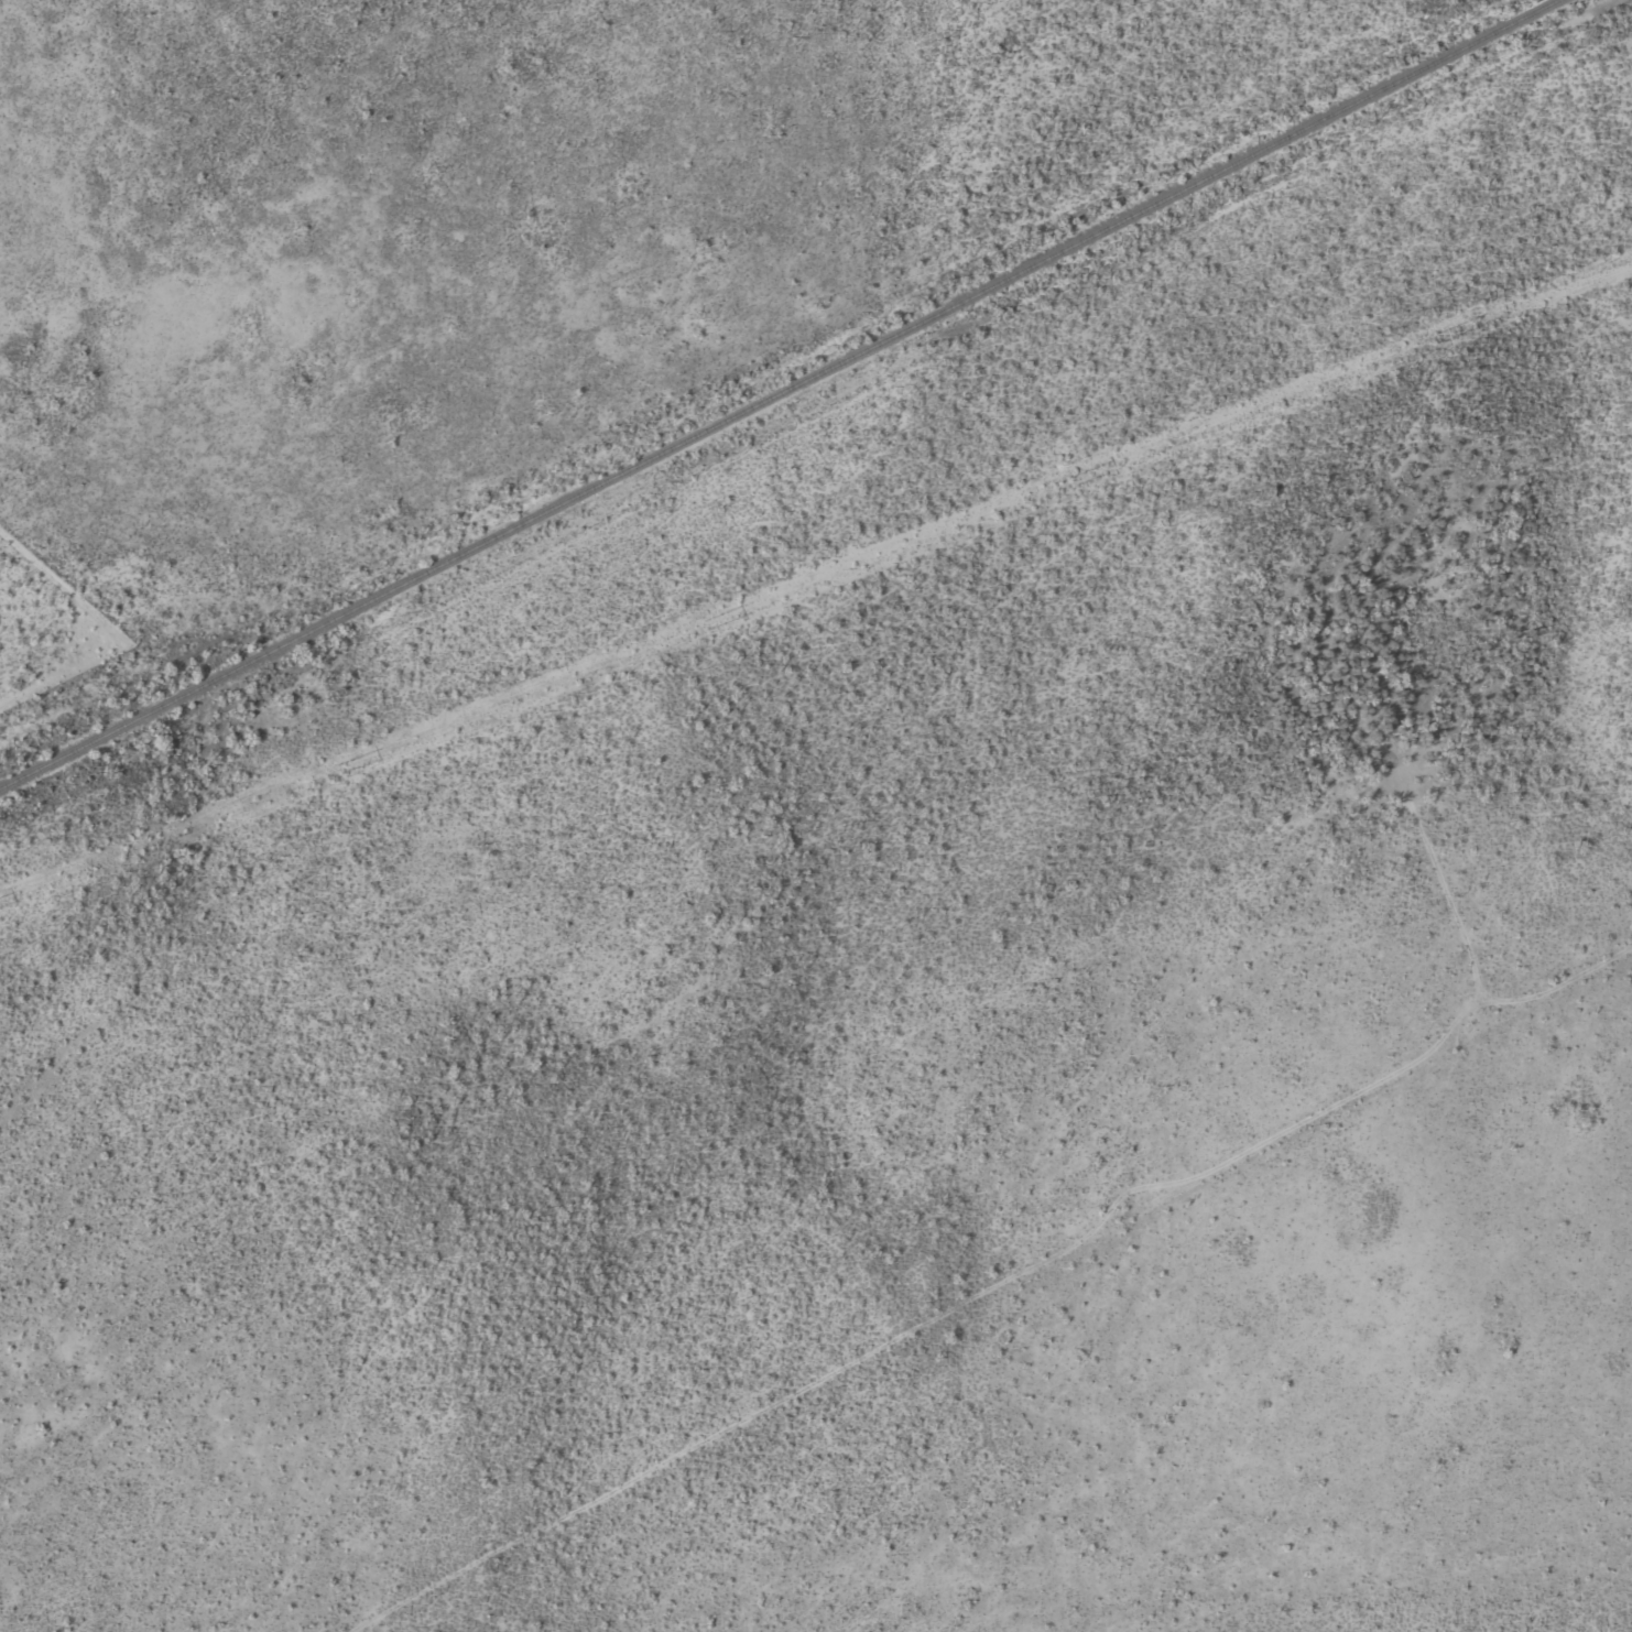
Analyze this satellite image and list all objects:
power tower: (1439, 337)
railway: (775, 392)
power tower: (1074, 481)
power tower: (706, 624)
power tower: (339, 769)

